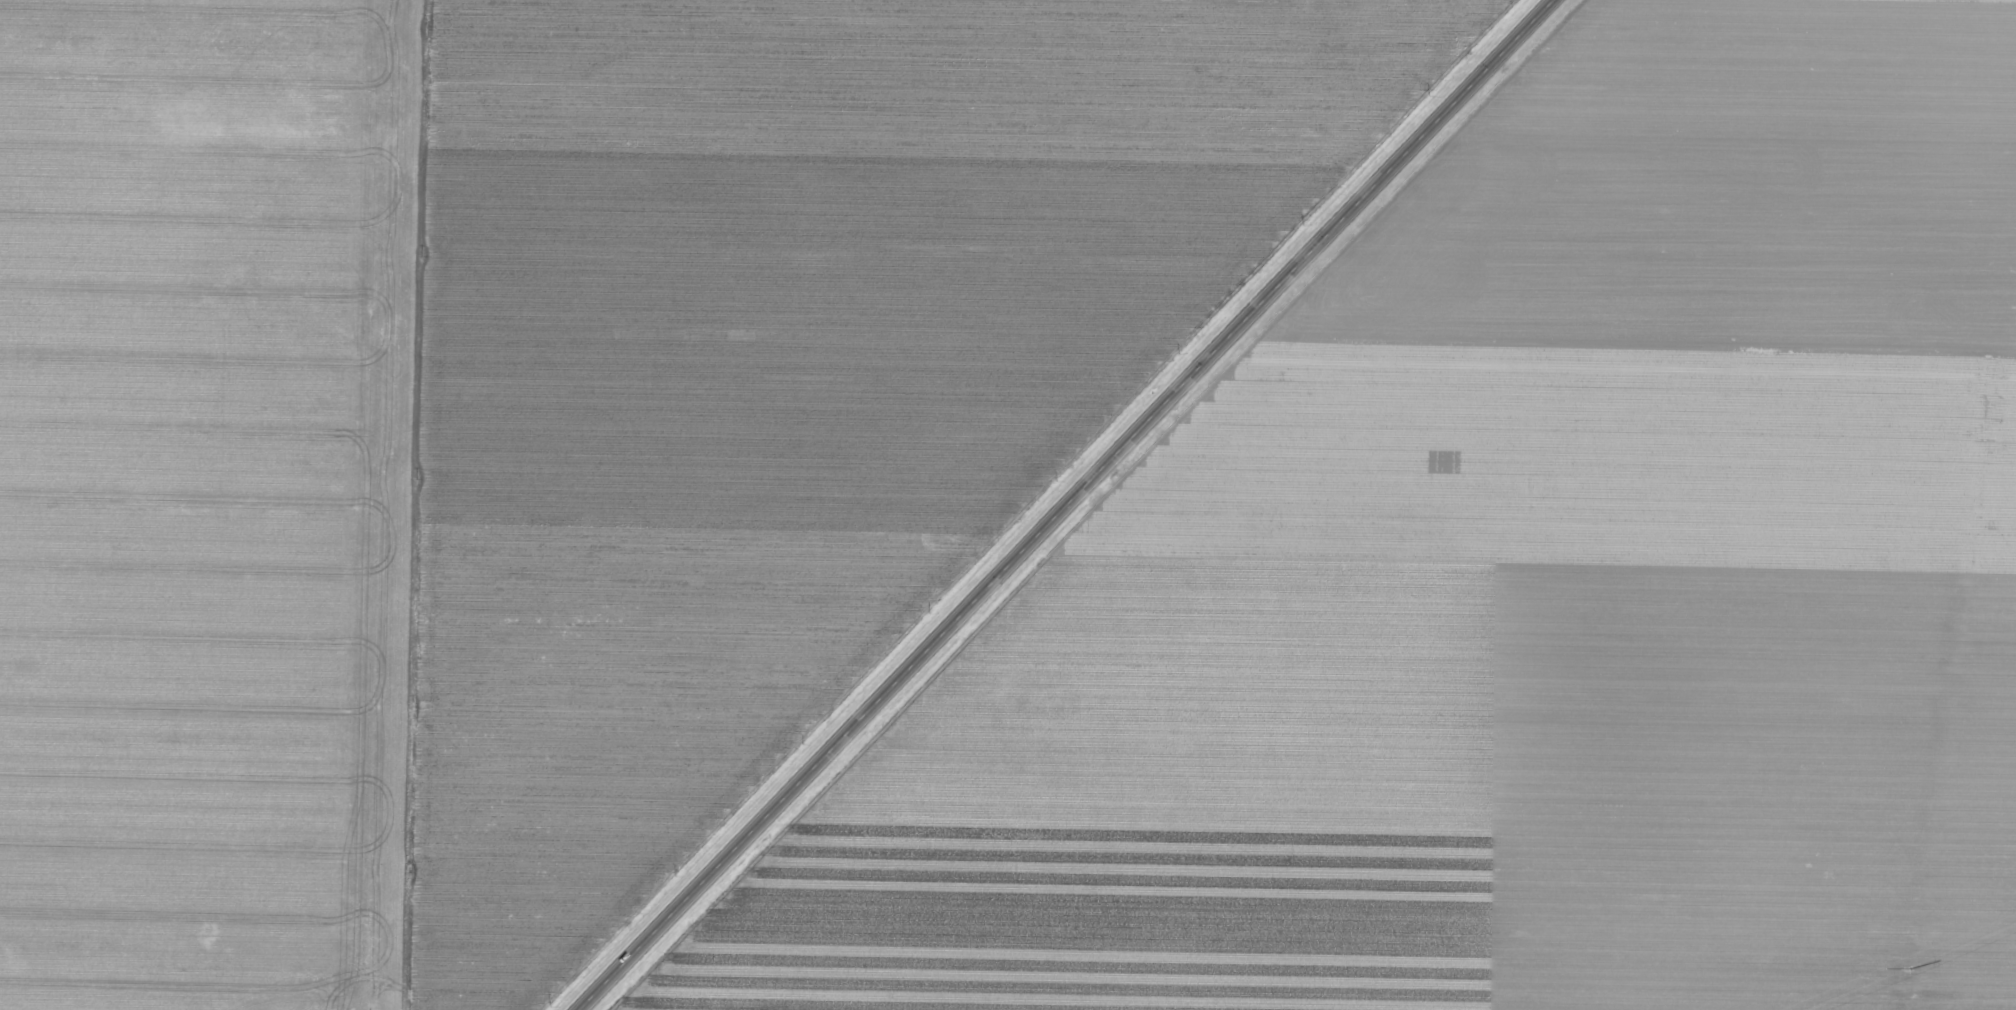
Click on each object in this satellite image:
road: (1067, 505)
power tower: (1910, 968)

